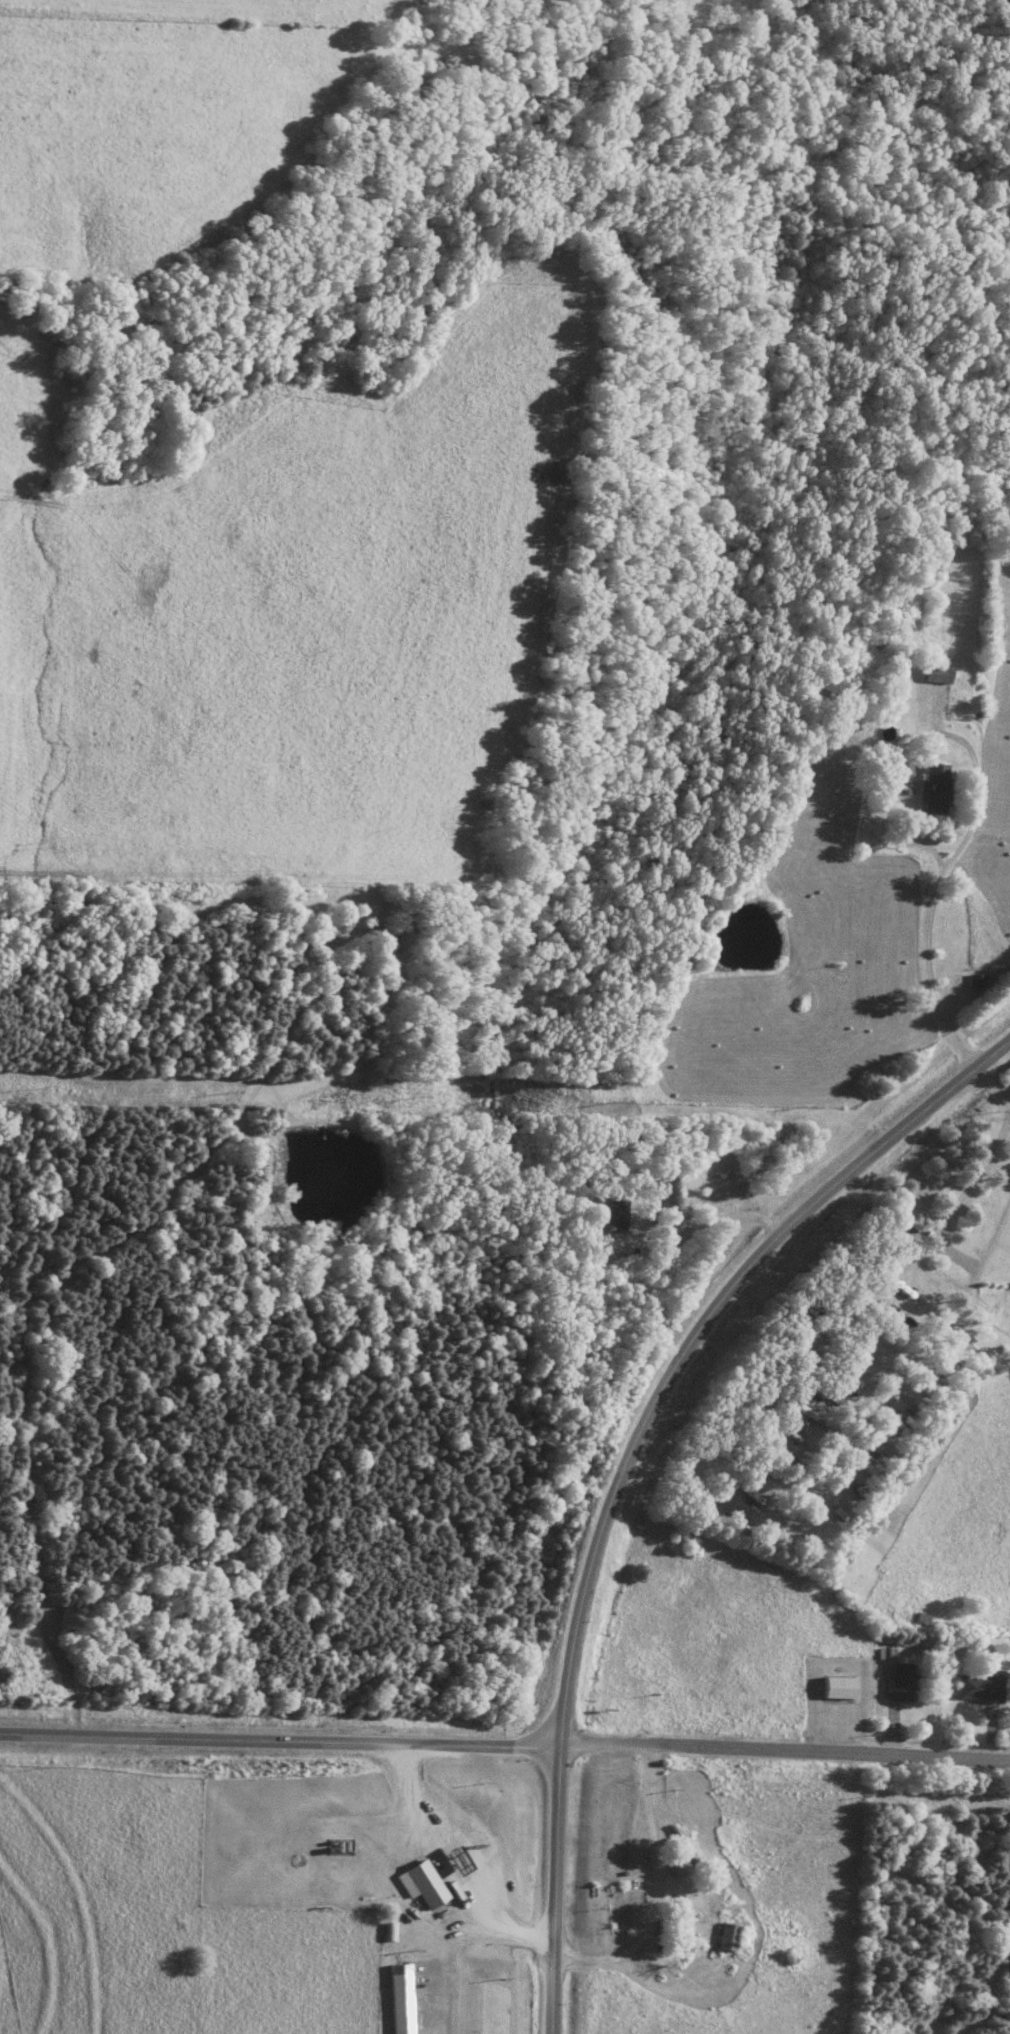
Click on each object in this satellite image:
building: (940, 672)
building: (935, 789)
building: (396, 935)
building: (301, 941)
road: (930, 942)
building: (977, 980)
building: (617, 1216)
road: (725, 1217)
road: (855, 1306)
road: (959, 1324)
road: (694, 1339)
building: (901, 1683)
building: (981, 1686)
building: (837, 1687)
road: (278, 1741)
road: (783, 1751)
building: (689, 1845)
building: (420, 1883)
road: (557, 1889)
building: (618, 1910)
building: (728, 1937)
road: (569, 1946)
building: (398, 1998)

